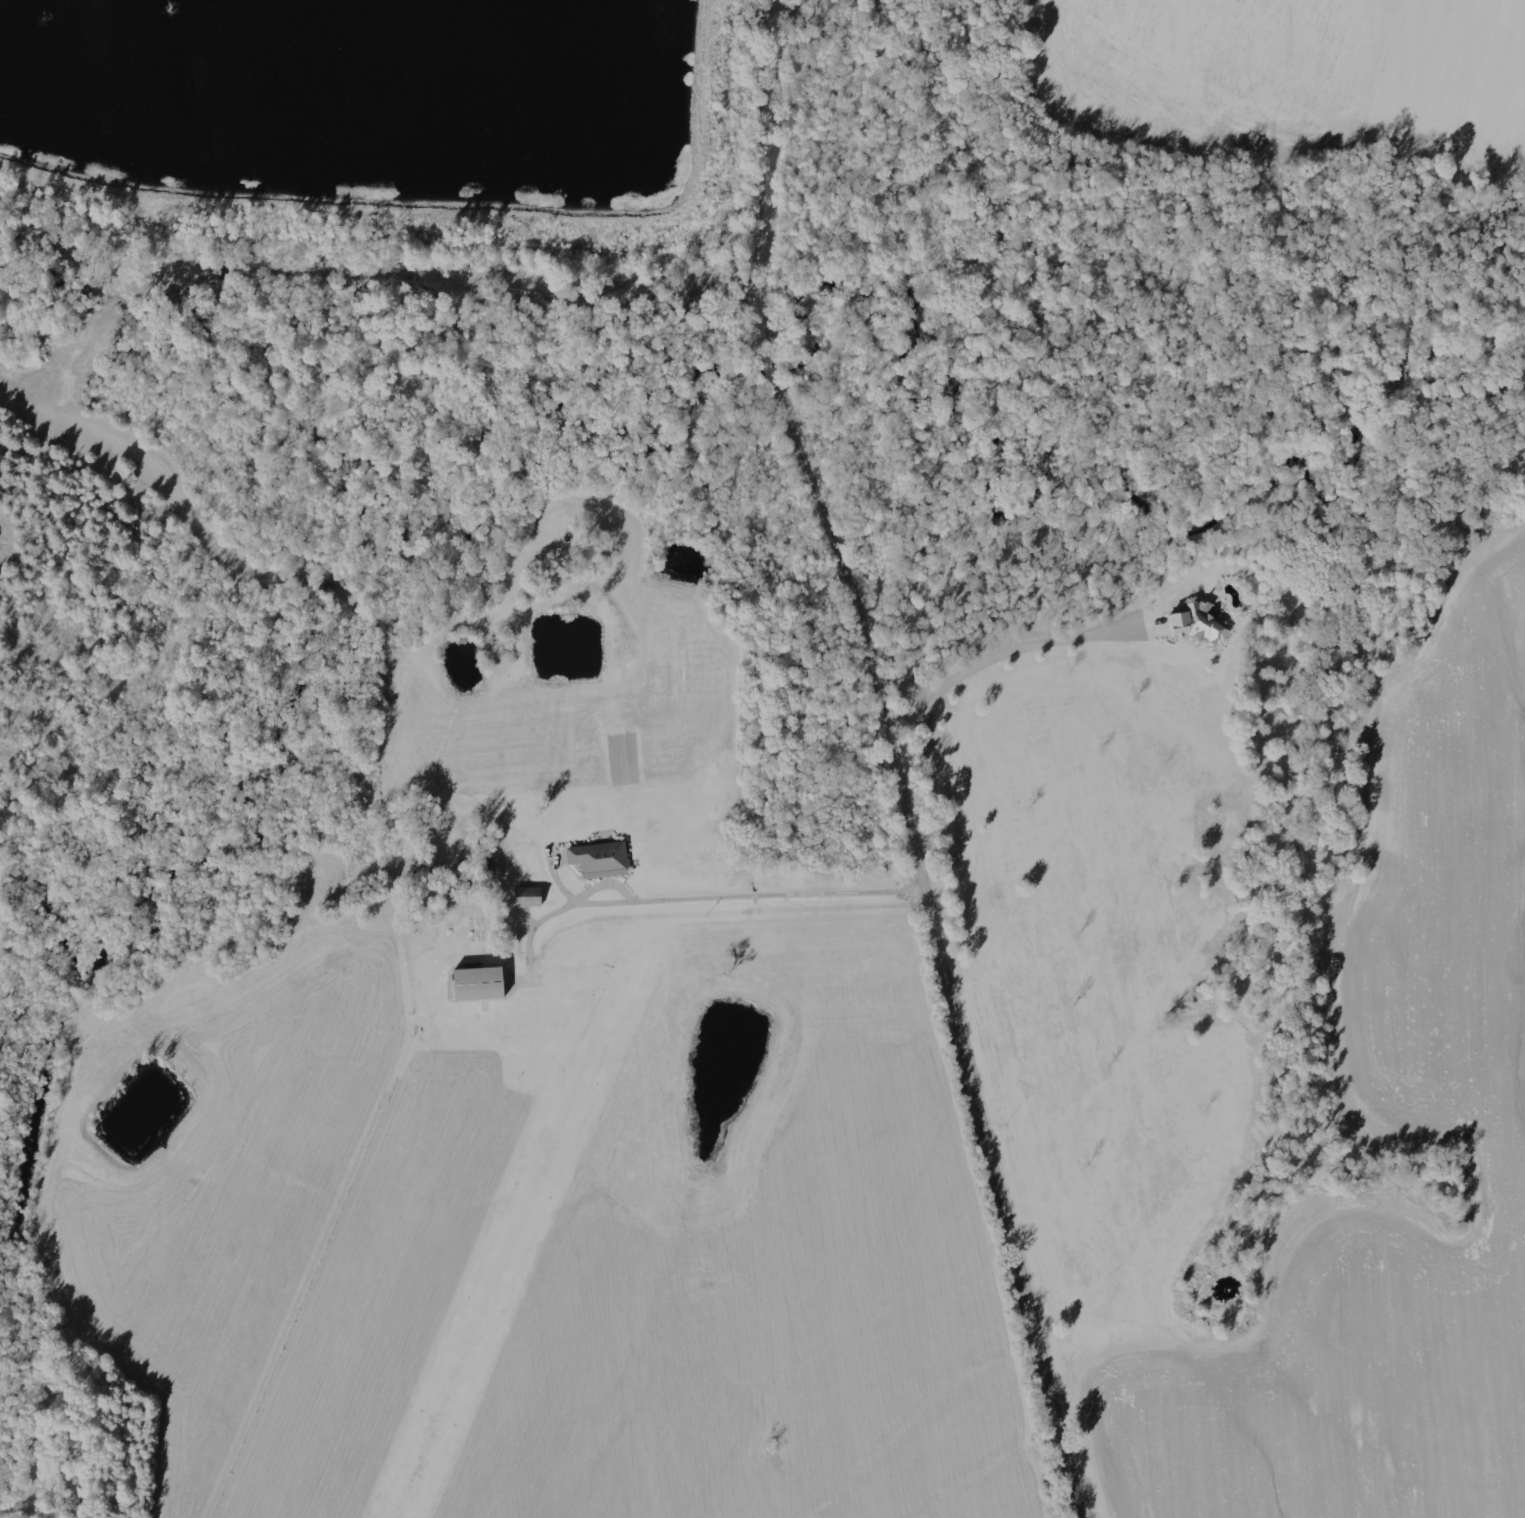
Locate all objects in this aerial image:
building: (1193, 624)
road: (948, 681)
road: (895, 764)
building: (598, 860)
building: (526, 898)
building: (474, 984)

